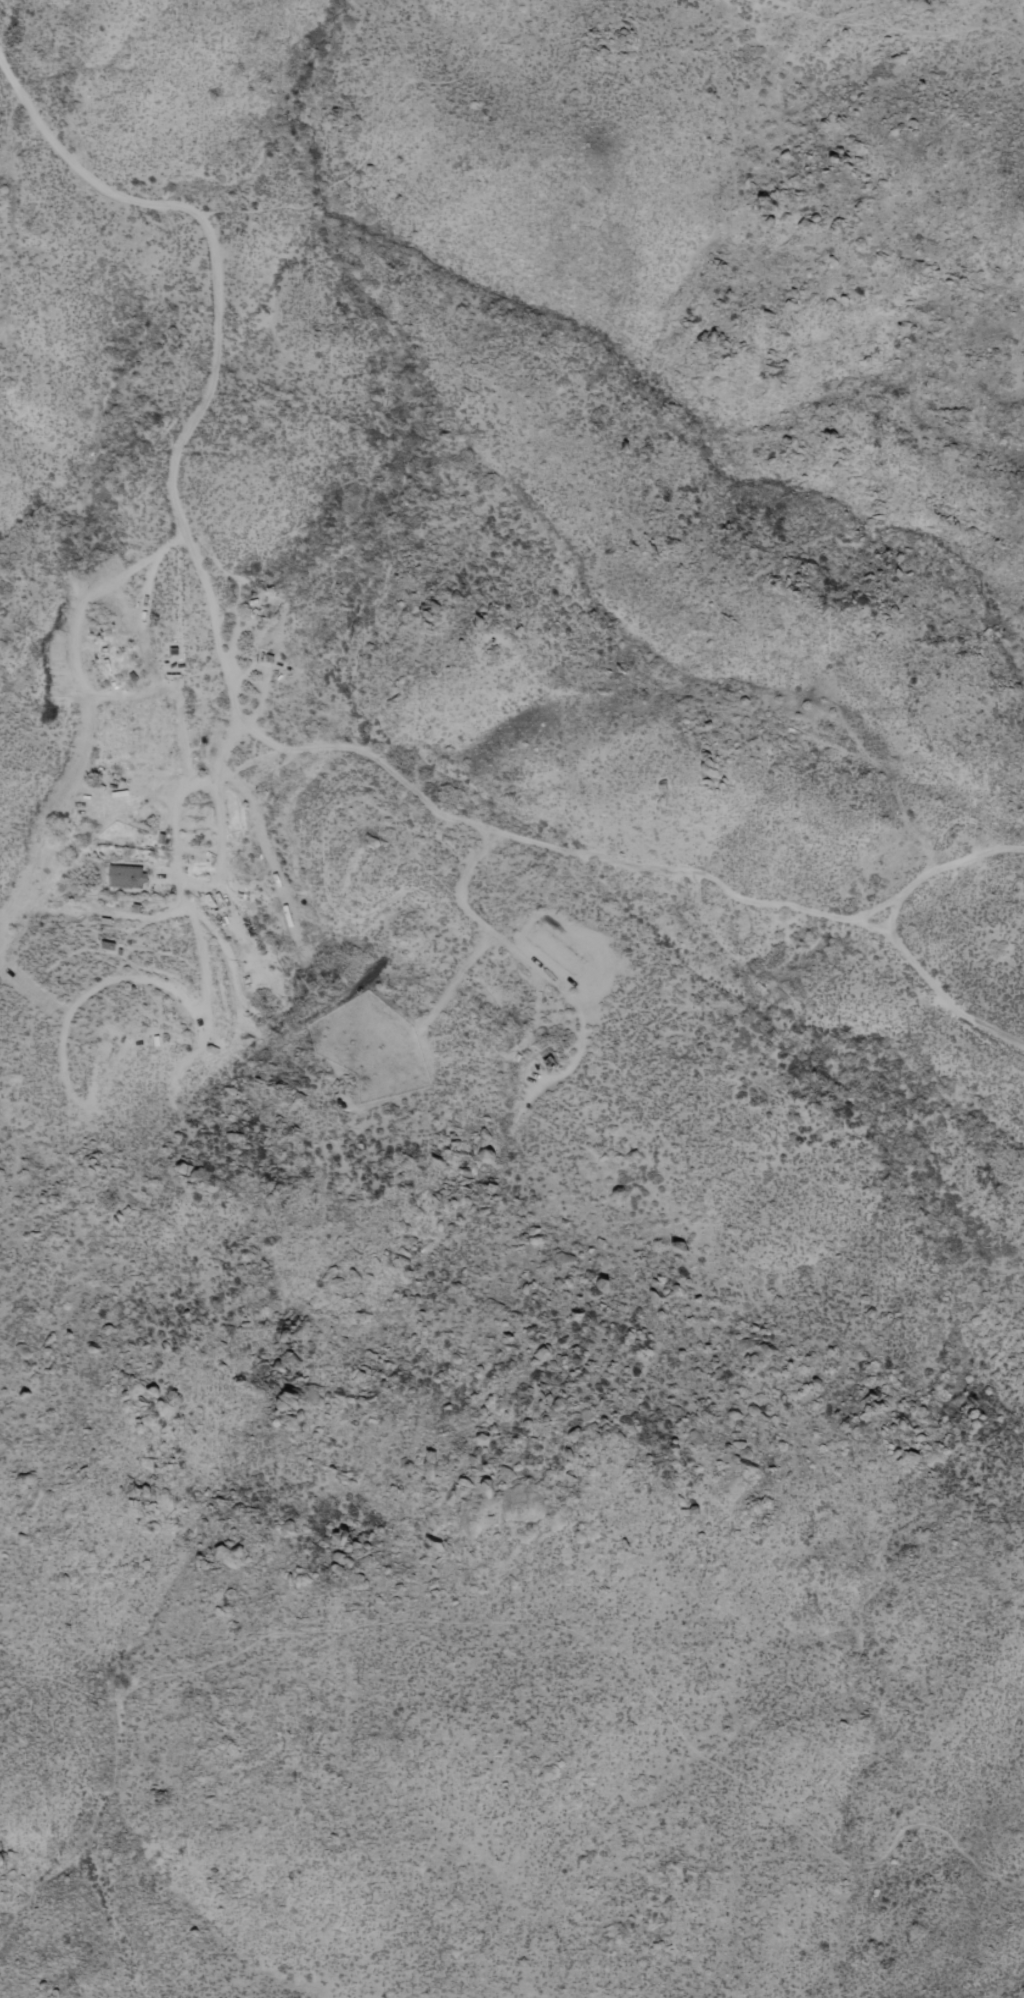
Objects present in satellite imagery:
road: (151, 569)
road: (235, 643)
road: (267, 675)
road: (80, 681)
road: (244, 715)
building: (127, 875)
road: (203, 884)

